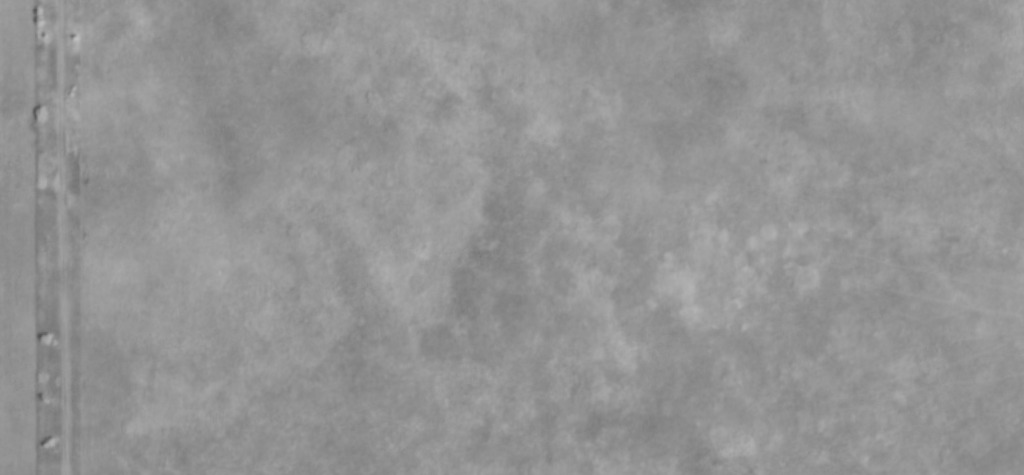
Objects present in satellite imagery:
road: (62, 237)

